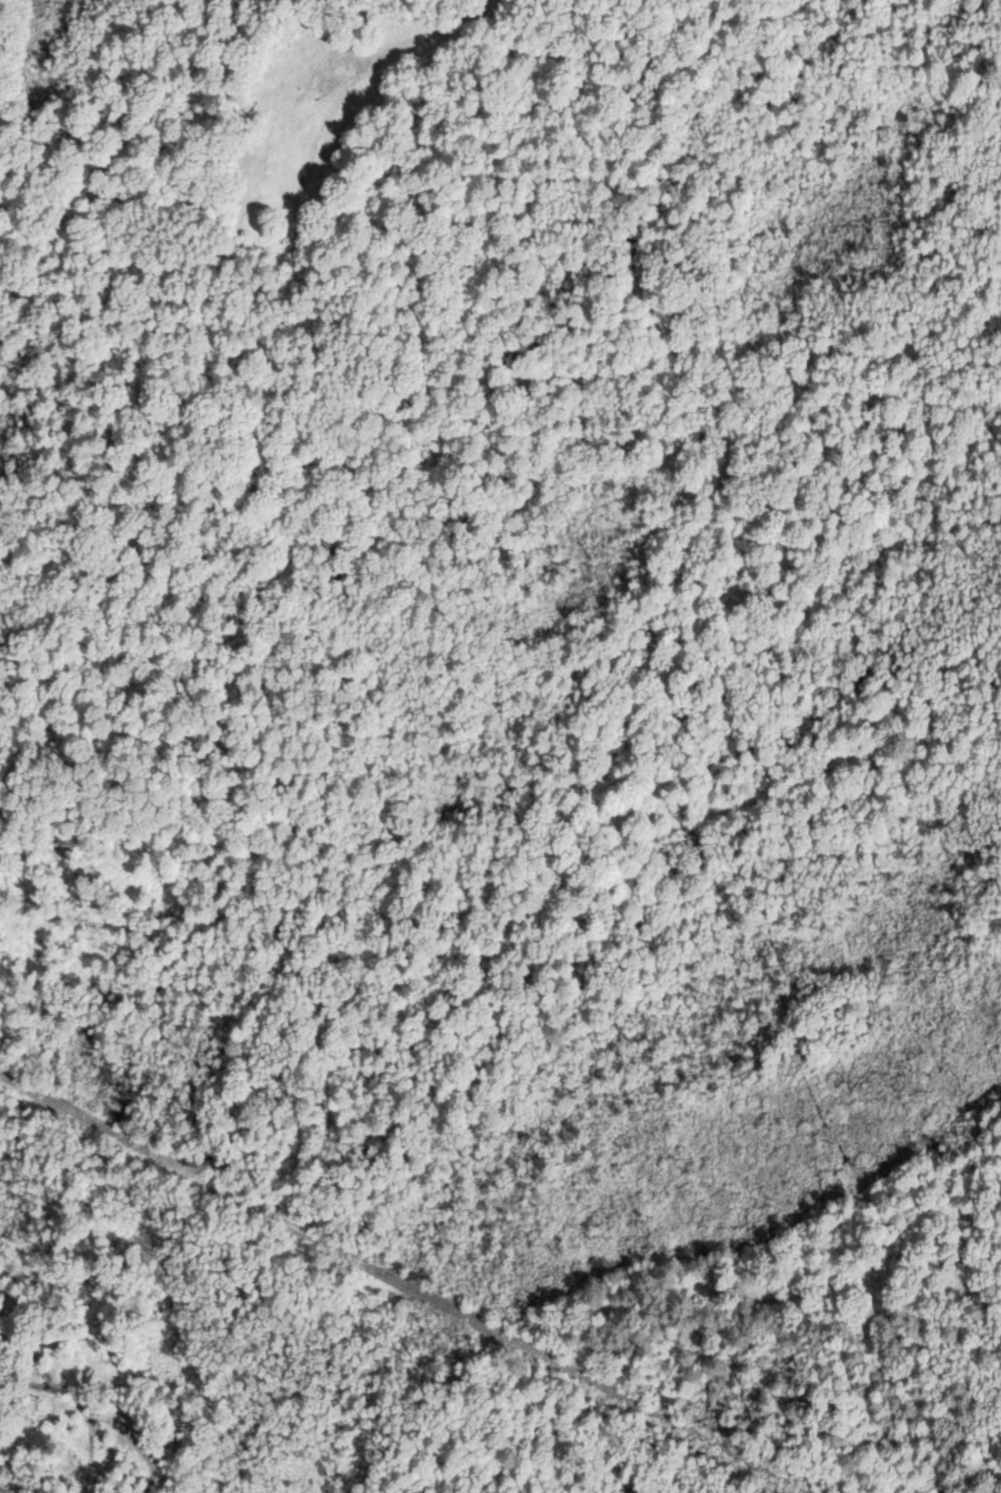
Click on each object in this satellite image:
railway: (402, 1284)

